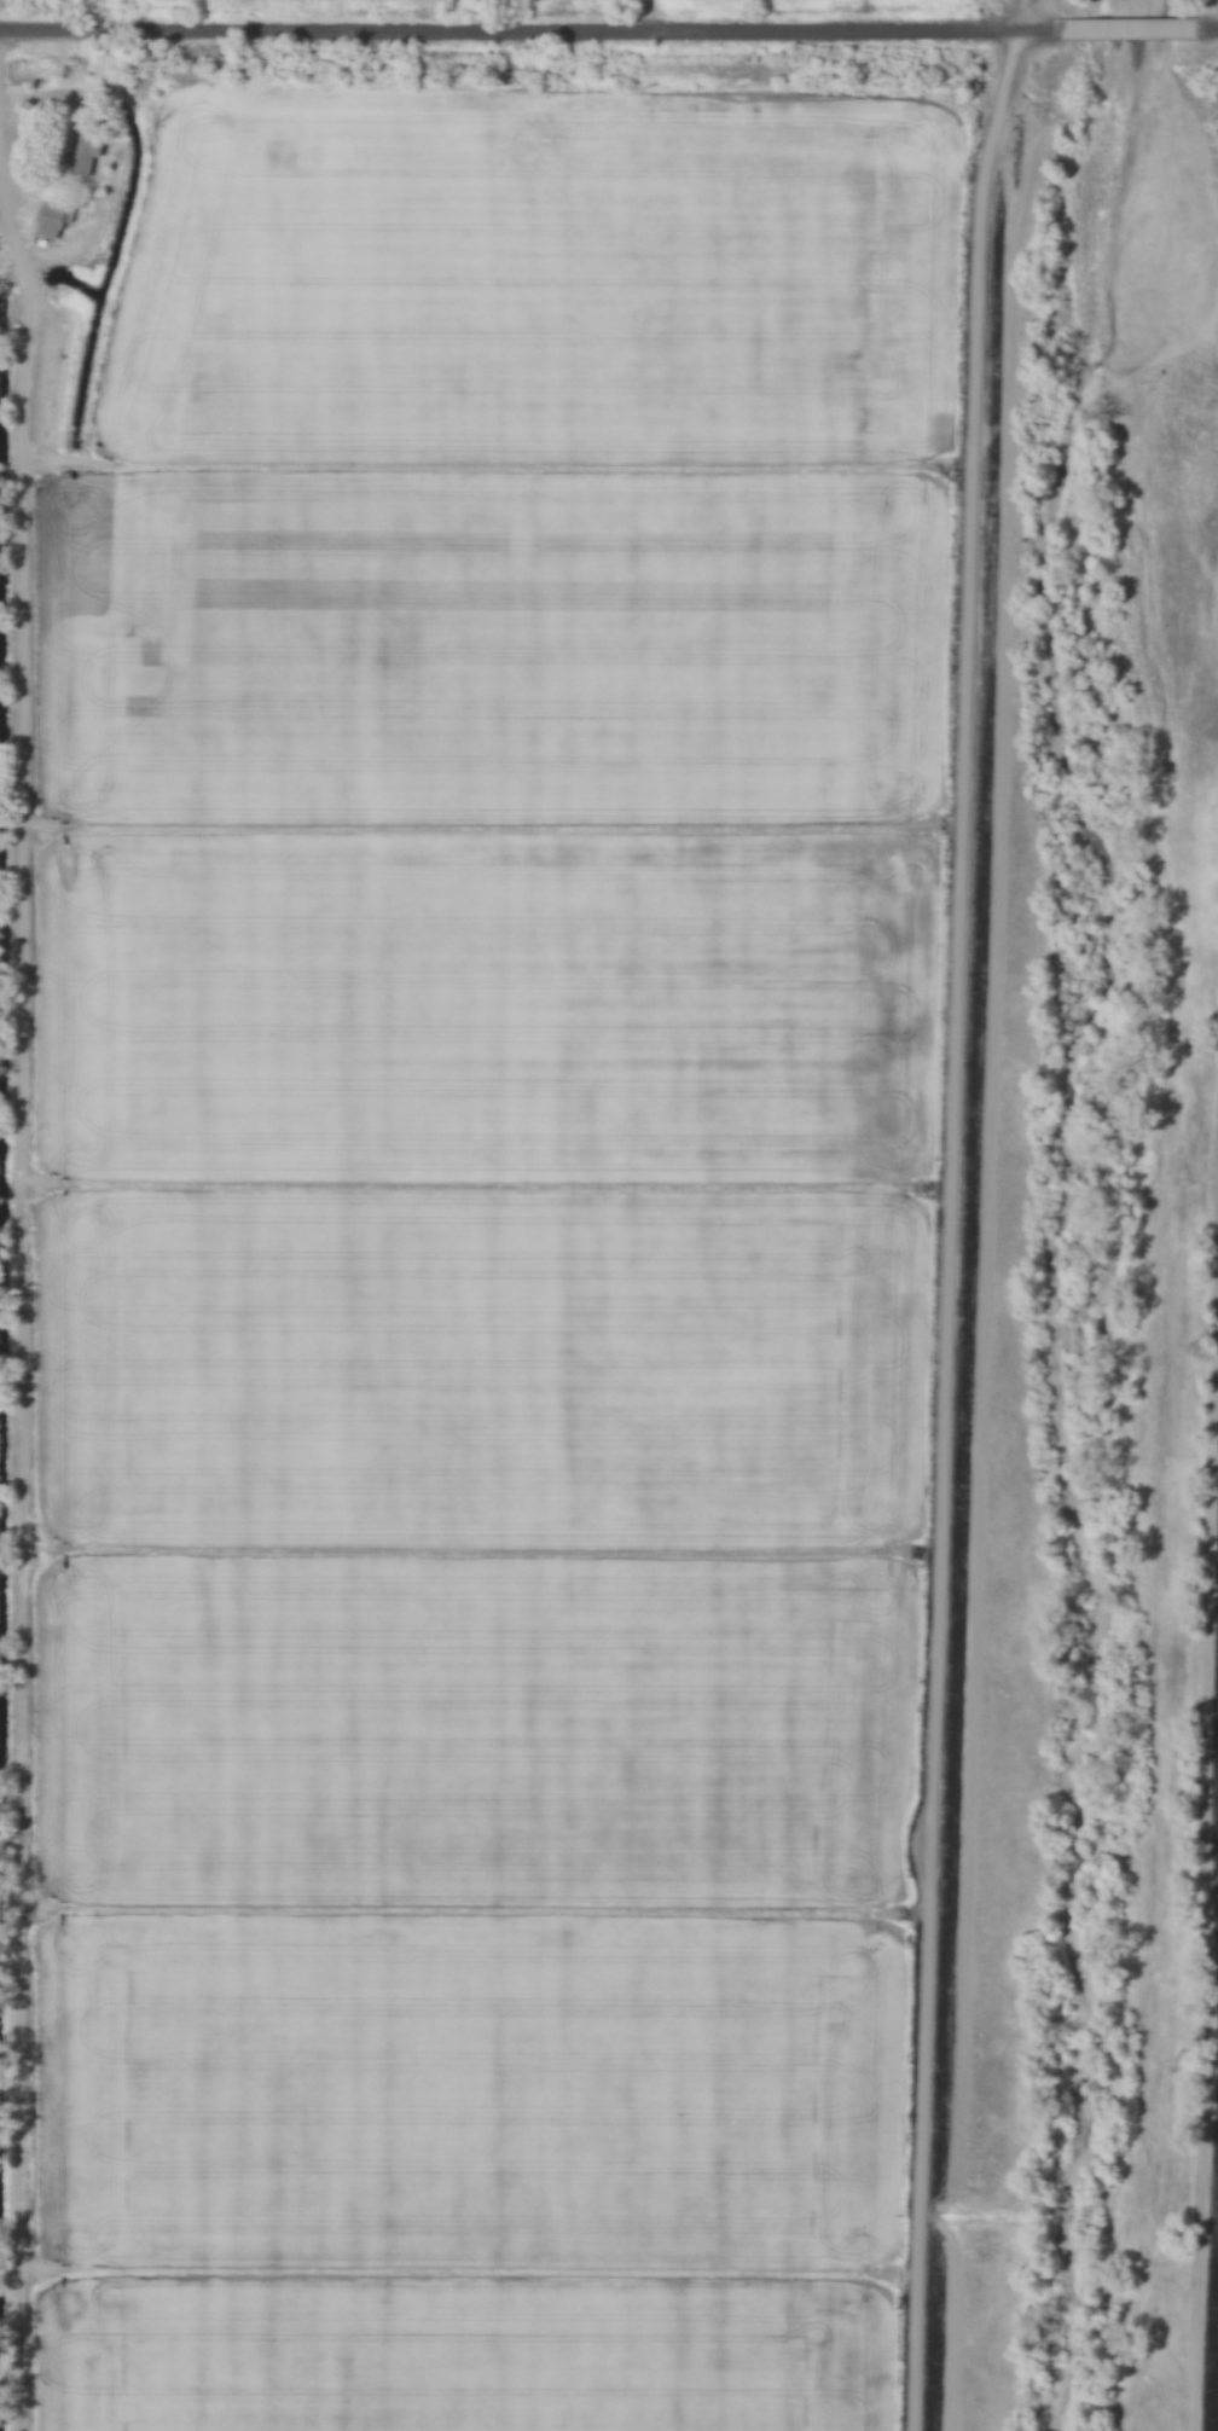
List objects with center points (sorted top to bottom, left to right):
road: (1043, 22)
road: (609, 40)

